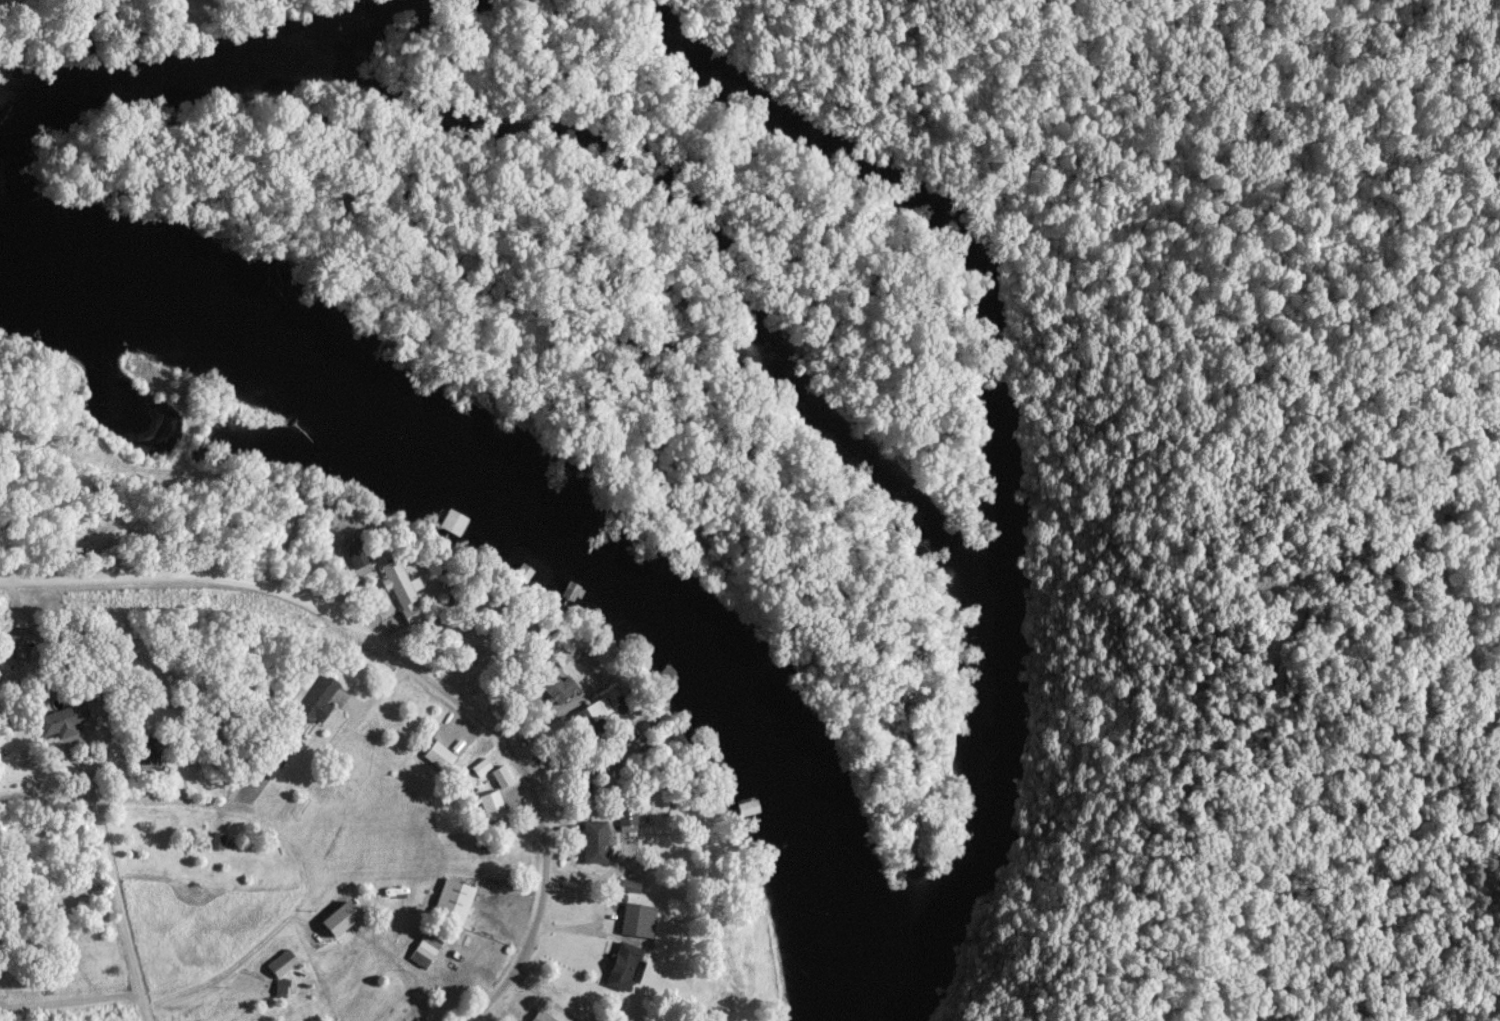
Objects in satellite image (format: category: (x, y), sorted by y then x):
river: (540, 535)
building: (361, 563)
building: (403, 590)
building: (572, 592)
building: (449, 634)
building: (16, 644)
road: (408, 666)
building: (516, 670)
building: (320, 700)
building: (591, 722)
building: (63, 723)
building: (149, 755)
building: (441, 757)
building: (483, 769)
building: (504, 778)
building: (494, 807)
building: (629, 816)
road: (273, 825)
building: (220, 841)
building: (597, 843)
building: (630, 887)
road: (117, 897)
building: (456, 903)
building: (639, 919)
building: (428, 951)
building: (628, 968)
road: (590, 982)
building: (284, 989)
road: (544, 998)
road: (76, 1001)
road: (148, 1014)
building: (545, 1018)

